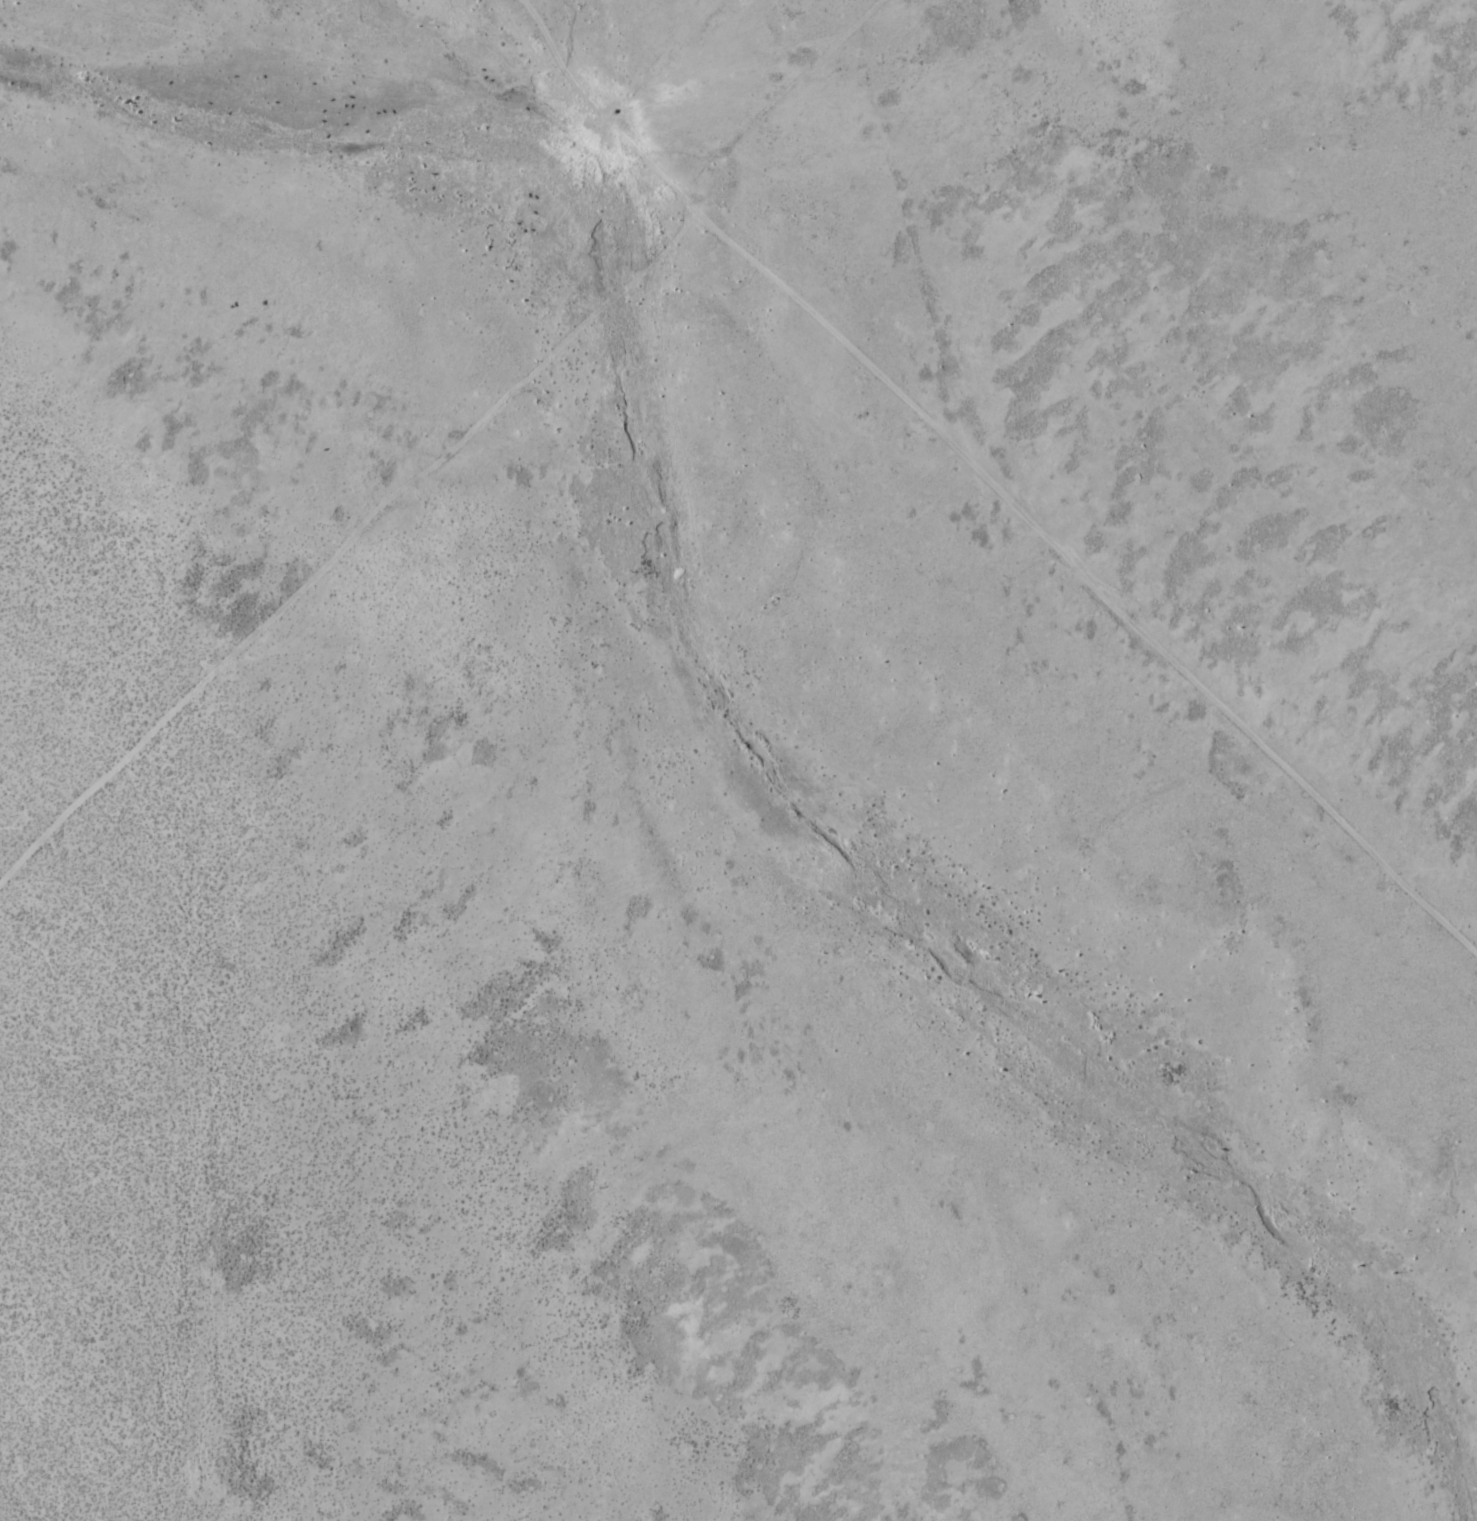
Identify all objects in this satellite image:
road: (1074, 560)

